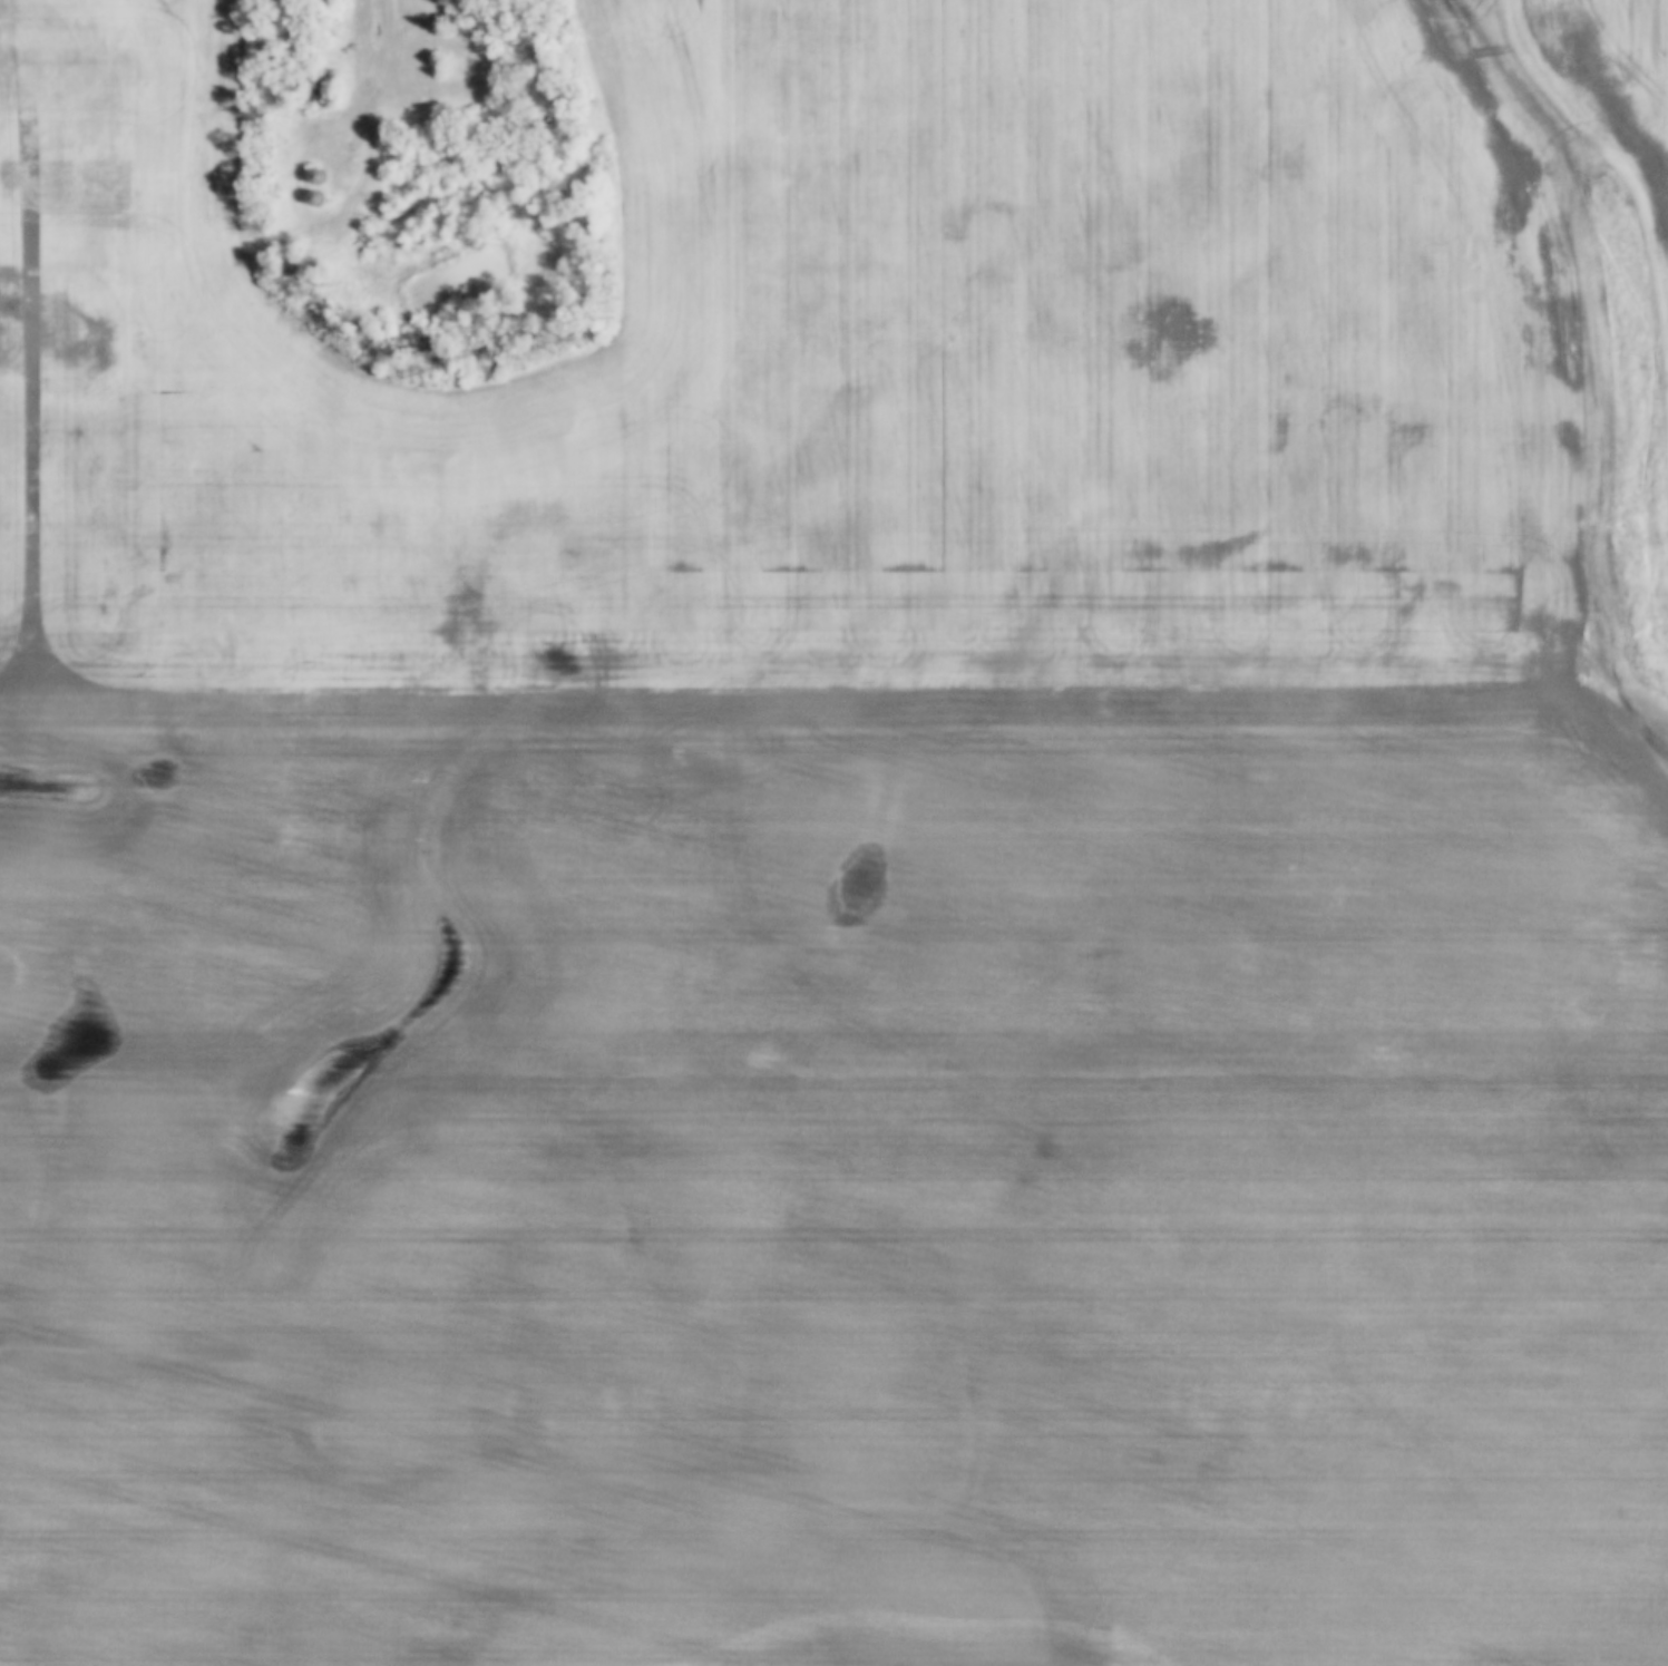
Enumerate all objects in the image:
road: (393, 38)
building: (311, 88)
building: (311, 176)
building: (310, 197)

